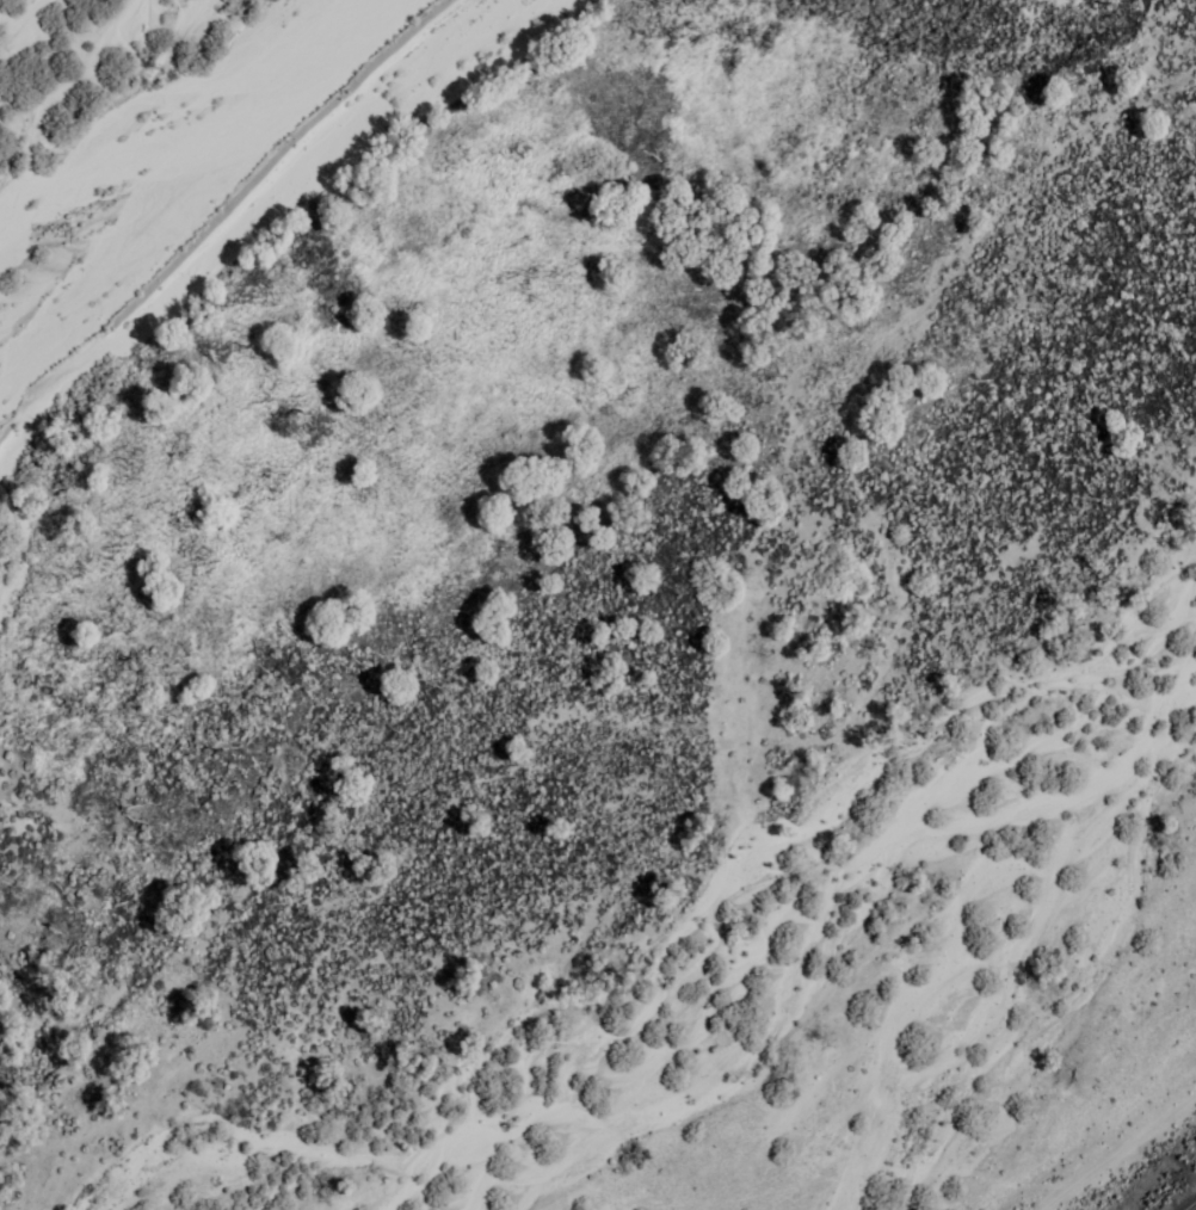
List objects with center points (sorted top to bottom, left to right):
river: (356, 316)
road: (1117, 1154)
railway: (1191, 1205)

